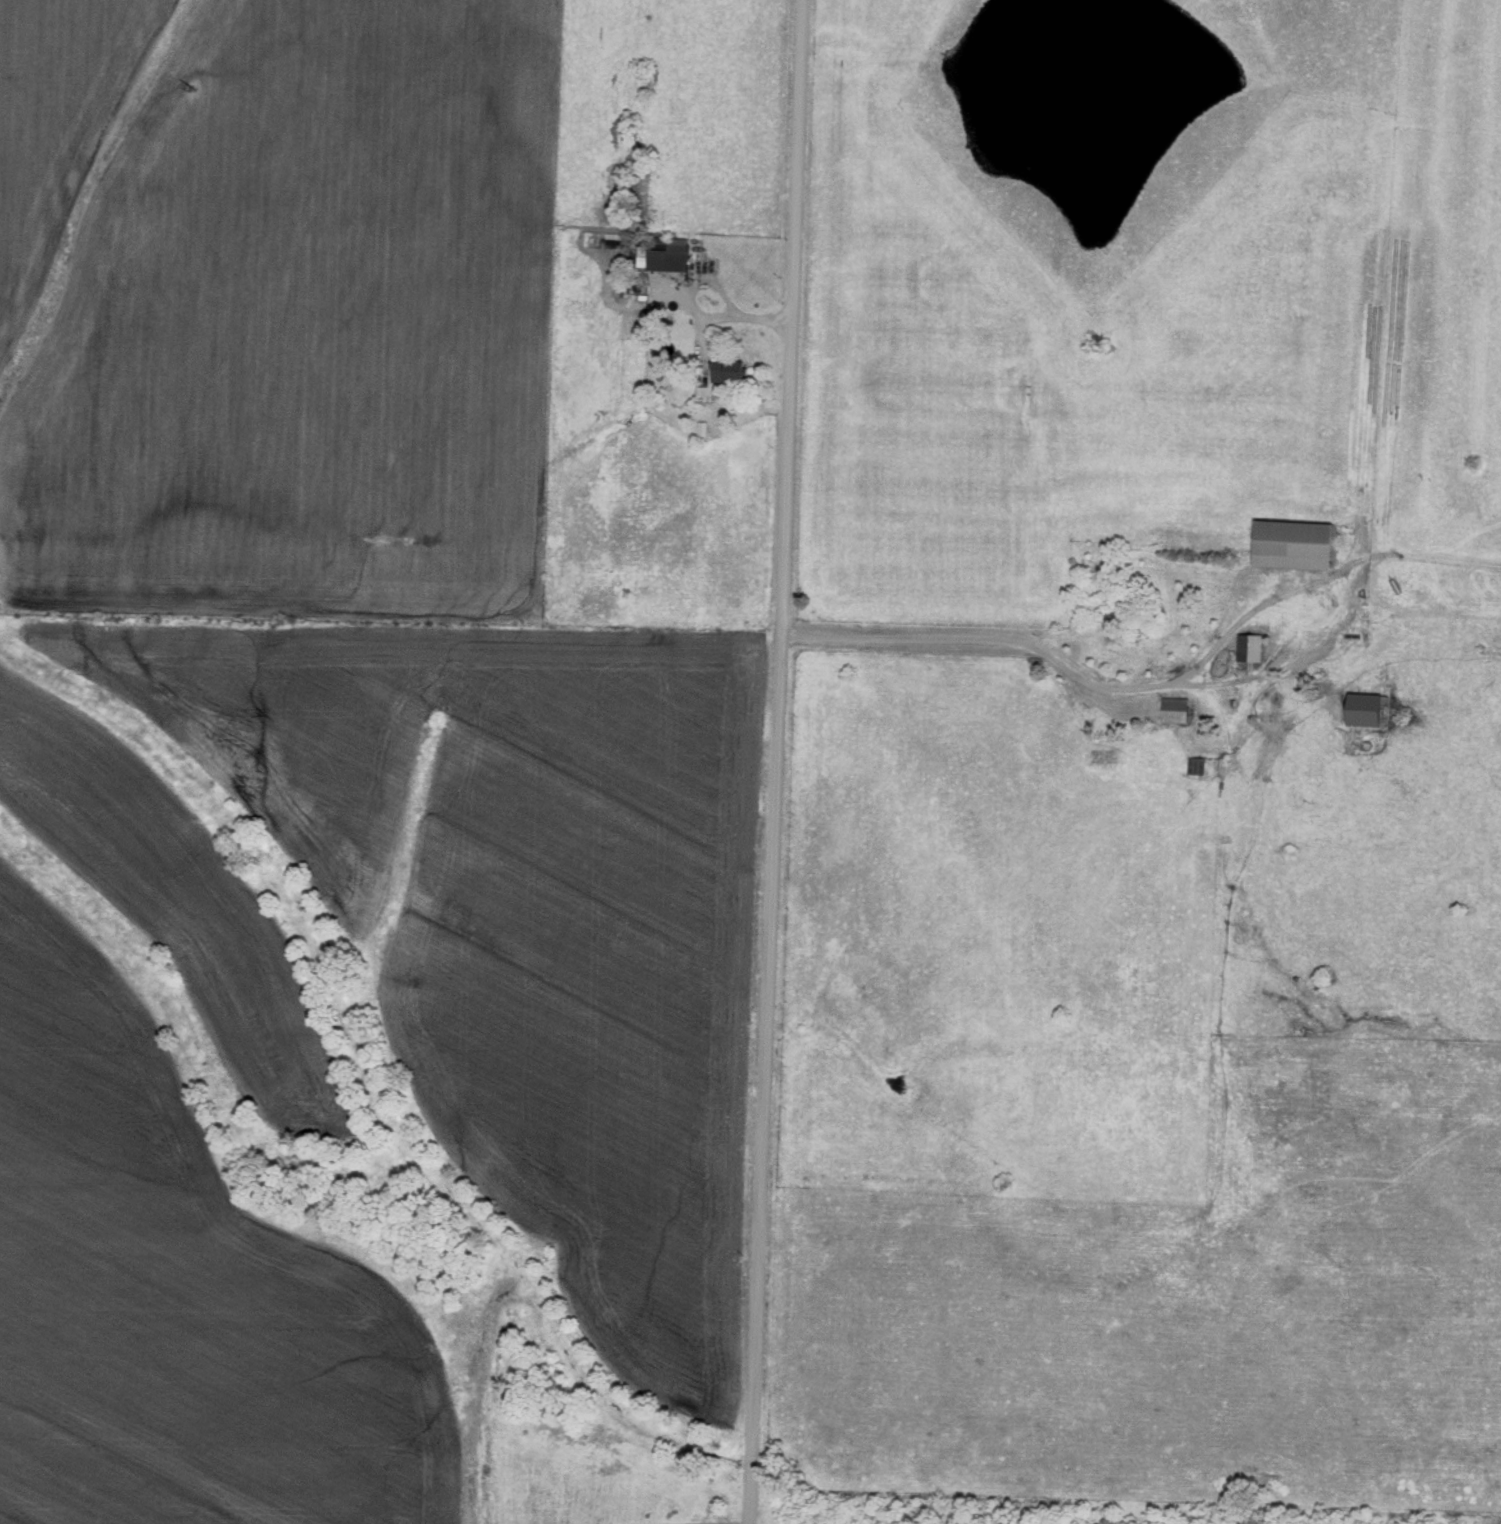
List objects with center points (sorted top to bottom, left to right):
building: (667, 255)
road: (693, 307)
building: (728, 372)
building: (1293, 546)
road: (971, 637)
building: (1249, 649)
building: (1174, 711)
building: (1366, 711)
road: (766, 761)
building: (1195, 767)

